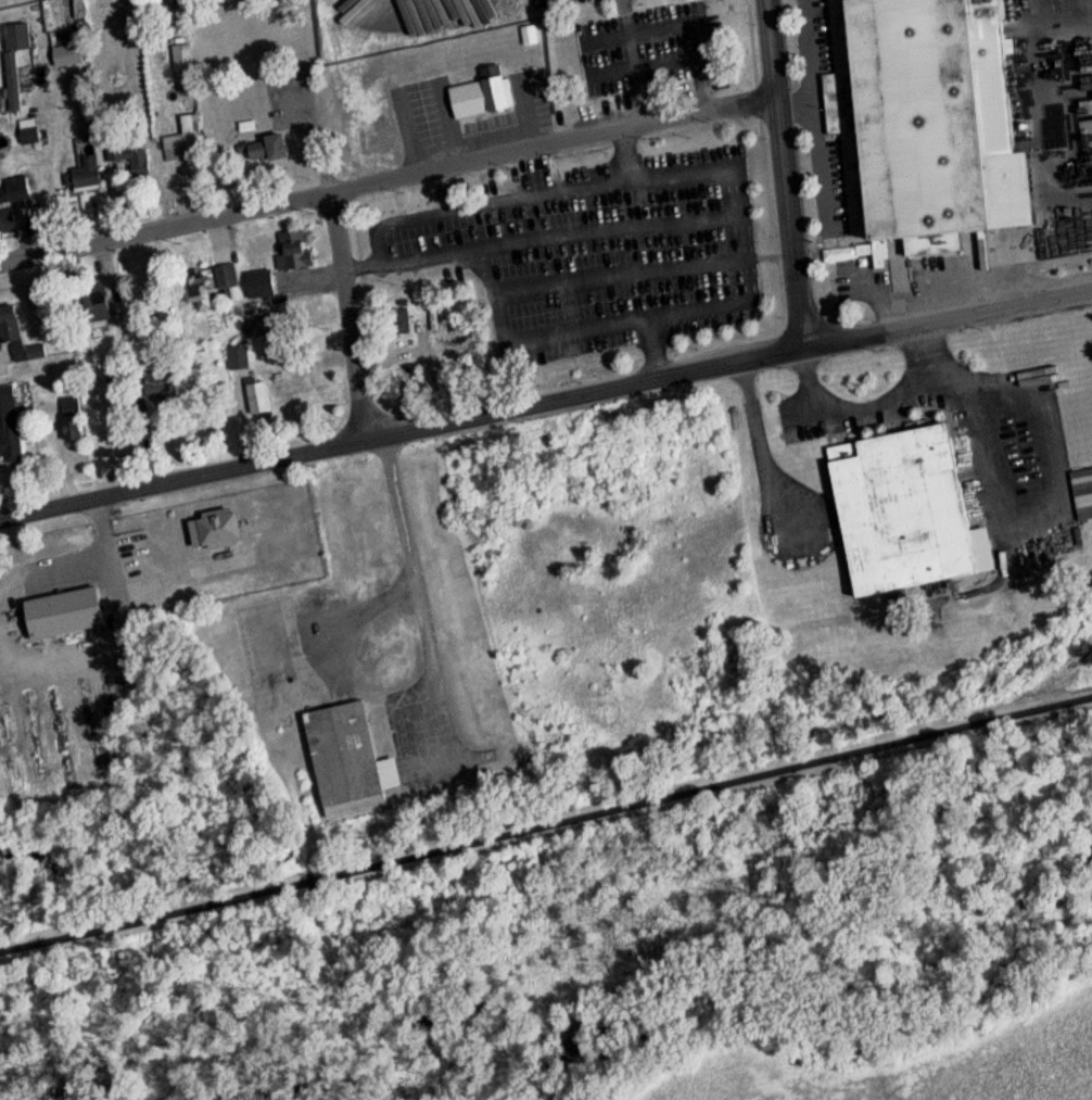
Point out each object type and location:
building: (428, 14)
road: (1068, 18)
road: (619, 20)
road: (652, 31)
building: (58, 34)
building: (11, 64)
building: (475, 100)
building: (920, 118)
building: (25, 138)
building: (176, 151)
building: (261, 154)
road: (624, 157)
building: (125, 161)
road: (782, 175)
building: (82, 177)
road: (384, 178)
road: (632, 182)
building: (10, 204)
road: (660, 226)
building: (289, 254)
road: (495, 275)
building: (223, 281)
building: (255, 289)
road: (525, 293)
building: (193, 296)
building: (88, 309)
road: (346, 314)
building: (396, 327)
building: (15, 343)
road: (939, 362)
building: (114, 381)
building: (153, 388)
road: (931, 400)
road: (545, 402)
building: (254, 405)
building: (66, 425)
building: (7, 432)
road: (760, 452)
building: (898, 518)
building: (211, 535)
road: (85, 558)
road: (416, 595)
building: (56, 618)
railway: (1078, 653)
building: (306, 721)
road: (545, 821)

